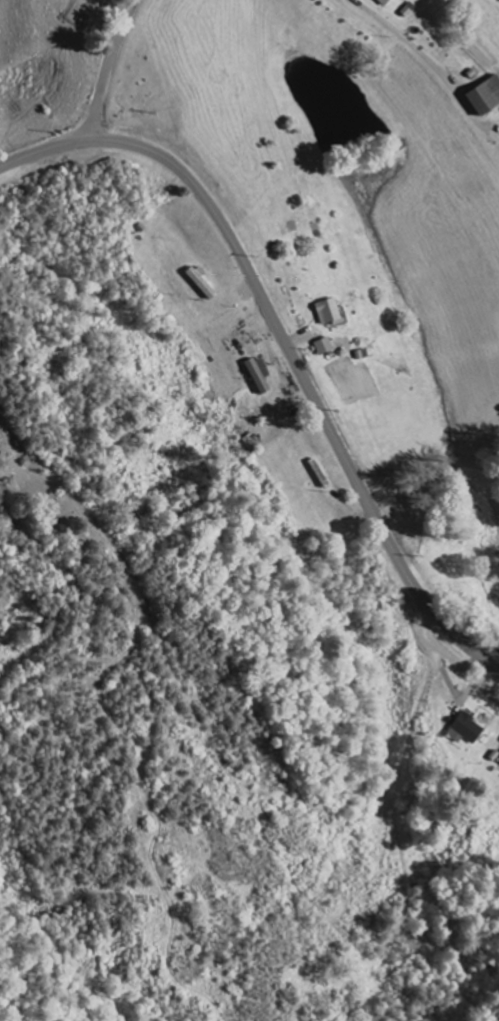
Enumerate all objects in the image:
building: (384, 2)
road: (106, 69)
building: (485, 97)
building: (329, 314)
road: (285, 344)
building: (324, 347)
building: (260, 375)
road: (452, 659)
building: (467, 731)

